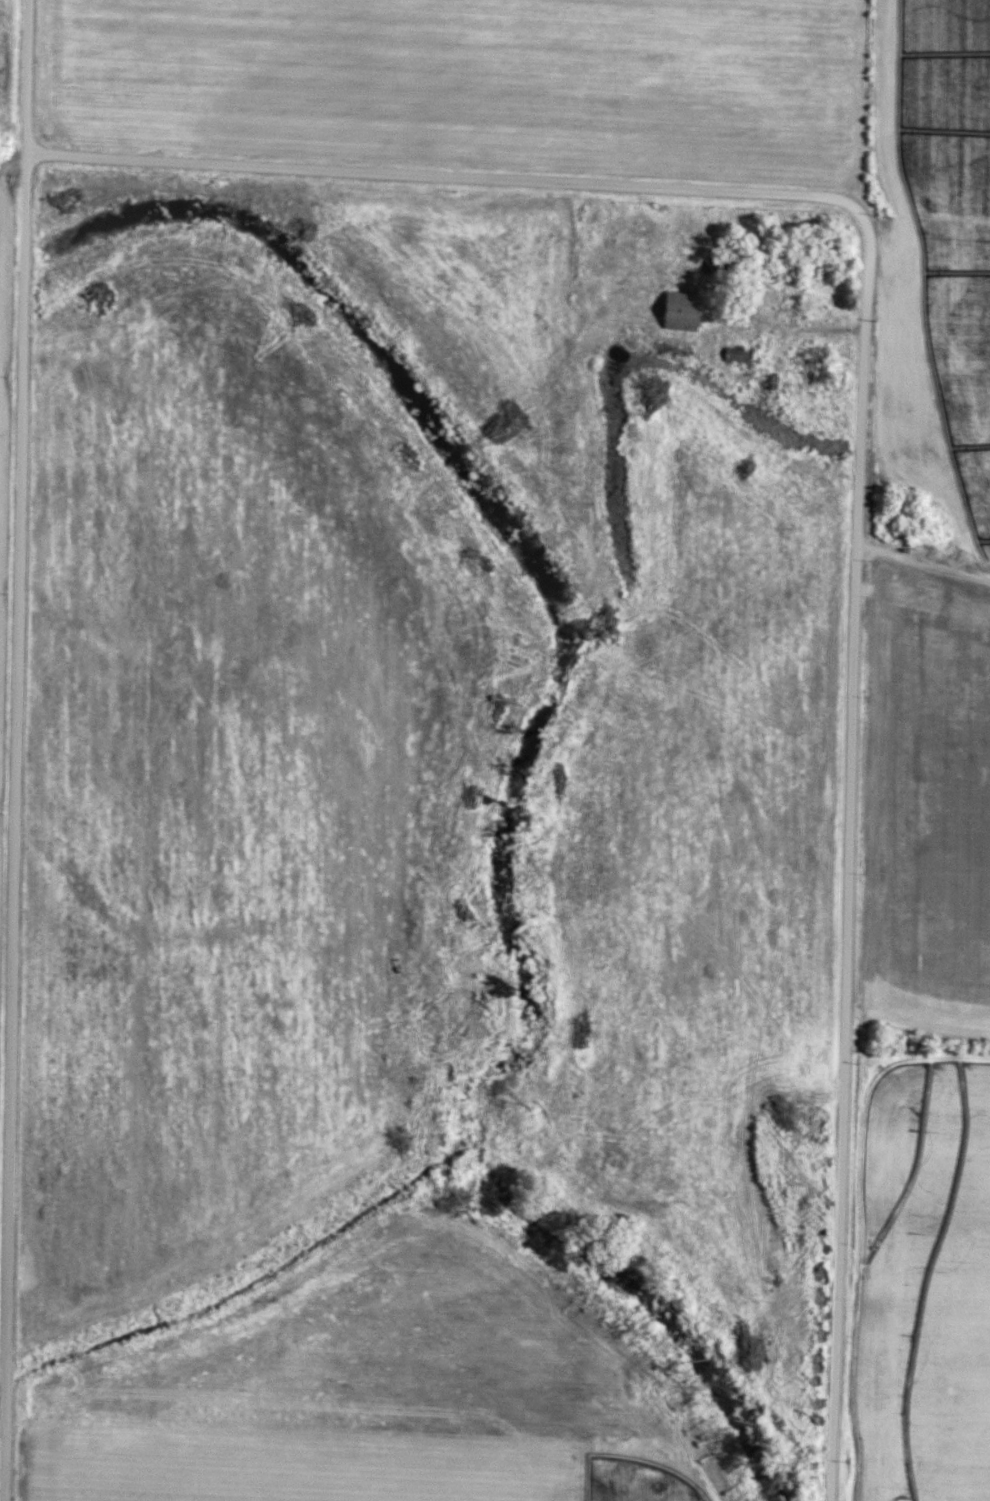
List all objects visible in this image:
building: (808, 271)
building: (763, 281)
building: (684, 311)
road: (787, 326)
building: (732, 355)
building: (769, 382)
road: (861, 436)
road: (16, 750)

